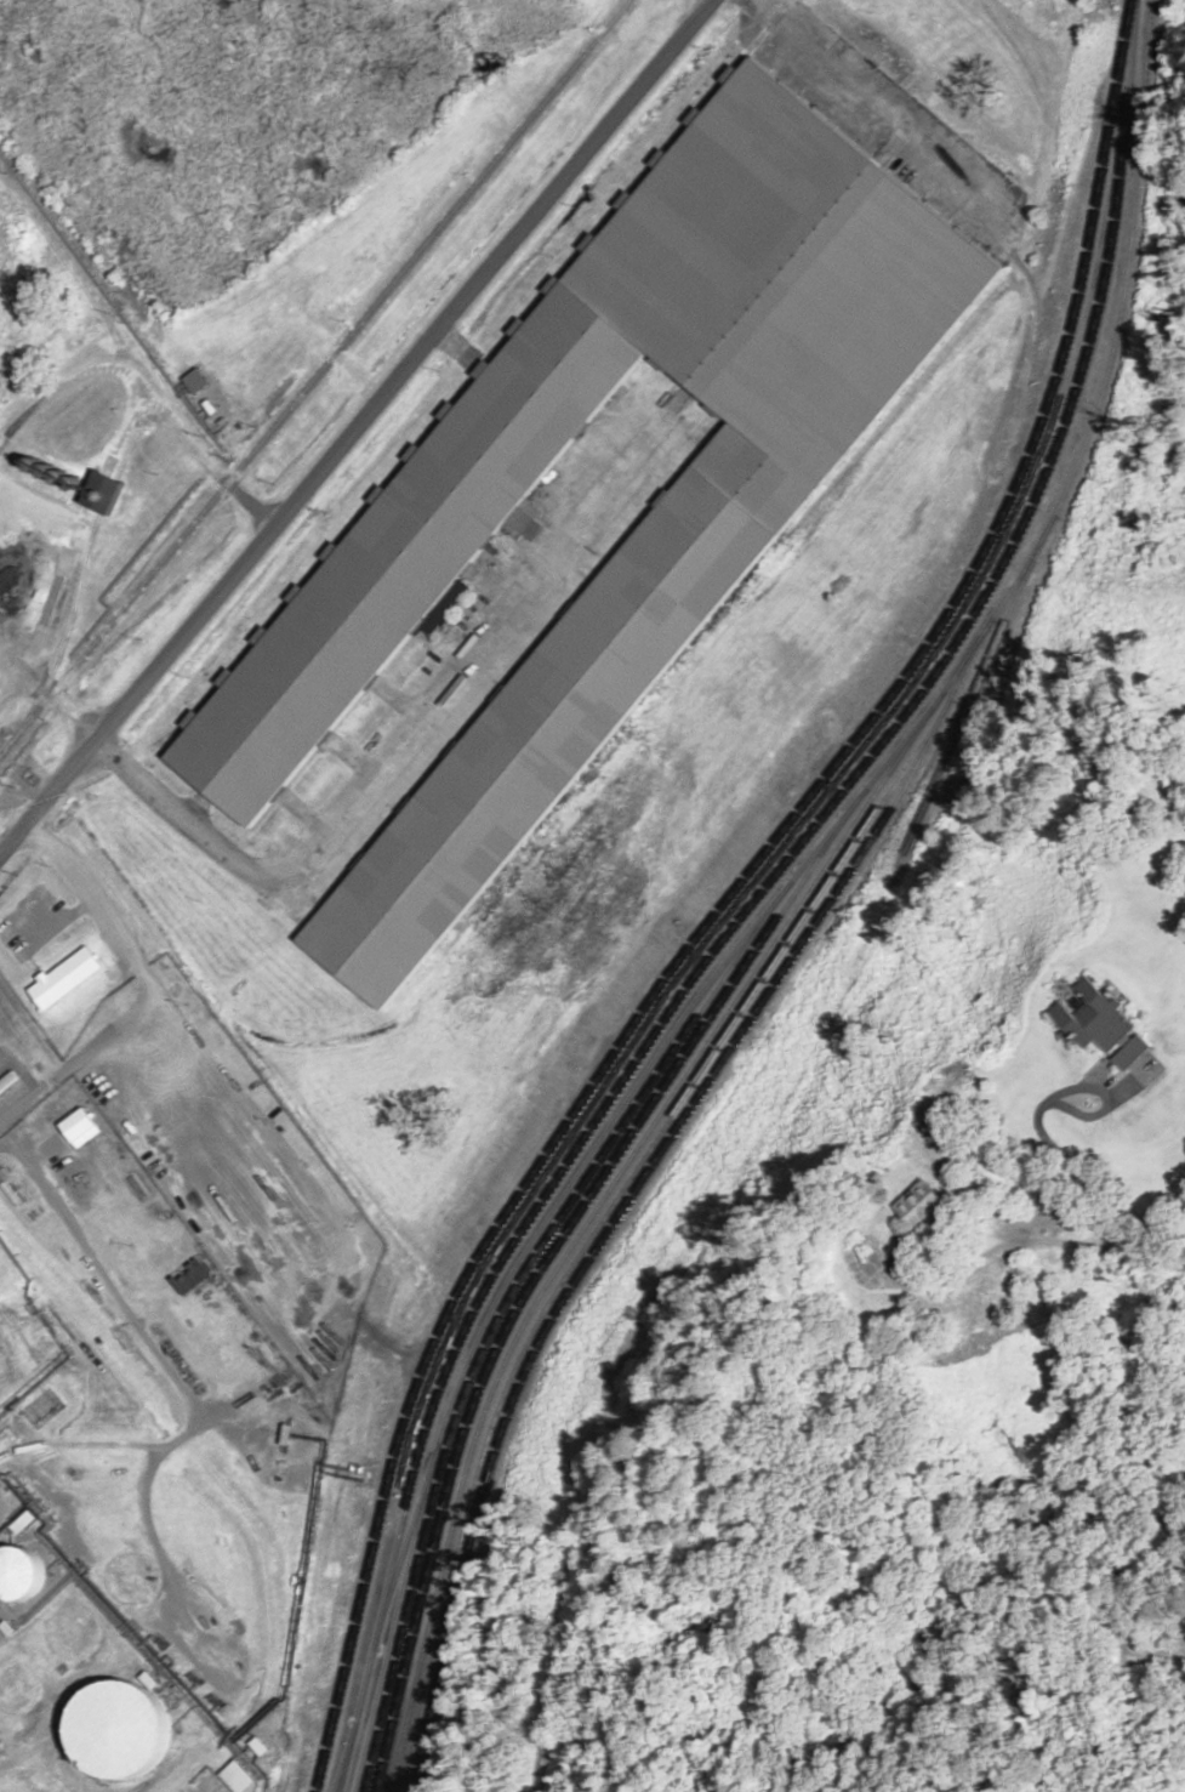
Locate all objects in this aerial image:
railway: (297, 400)
road: (351, 423)
building: (661, 590)
railway: (989, 595)
railway: (741, 894)
railway: (803, 904)
building: (23, 914)
building: (1094, 1016)
building: (1134, 1052)
railway: (613, 1131)
railway: (742, 1157)
railway: (632, 1184)
building: (925, 1205)
railway: (565, 1219)
railway: (616, 1225)
railway: (546, 1272)
building: (195, 1275)
railway: (431, 1422)
railway: (406, 1549)
building: (16, 1575)
railway: (370, 1578)
railway: (406, 1583)
railway: (347, 1762)

